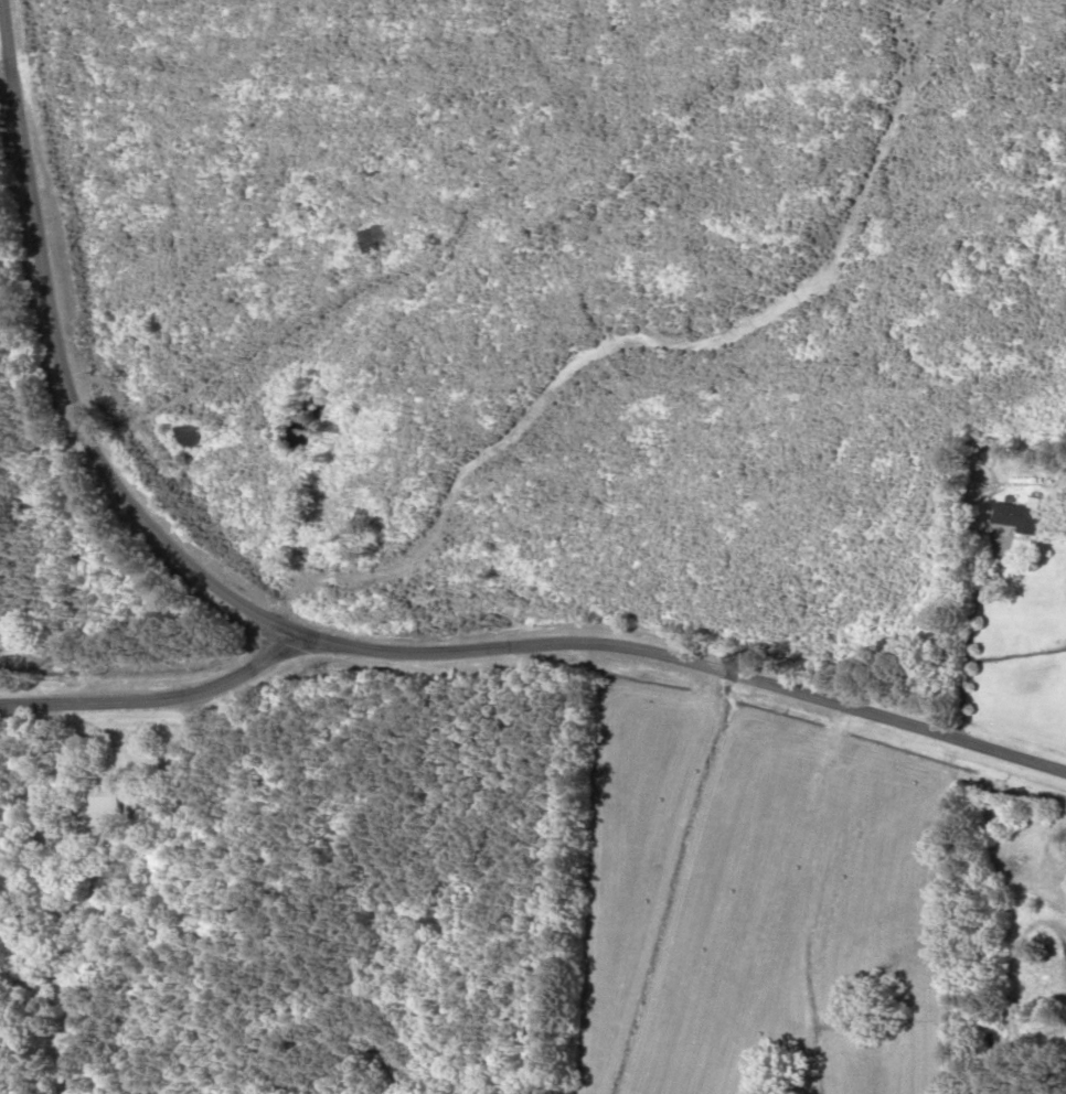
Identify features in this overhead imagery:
road: (12, 180)
building: (1026, 518)
road: (345, 642)
road: (966, 642)
road: (157, 697)
building: (105, 797)

